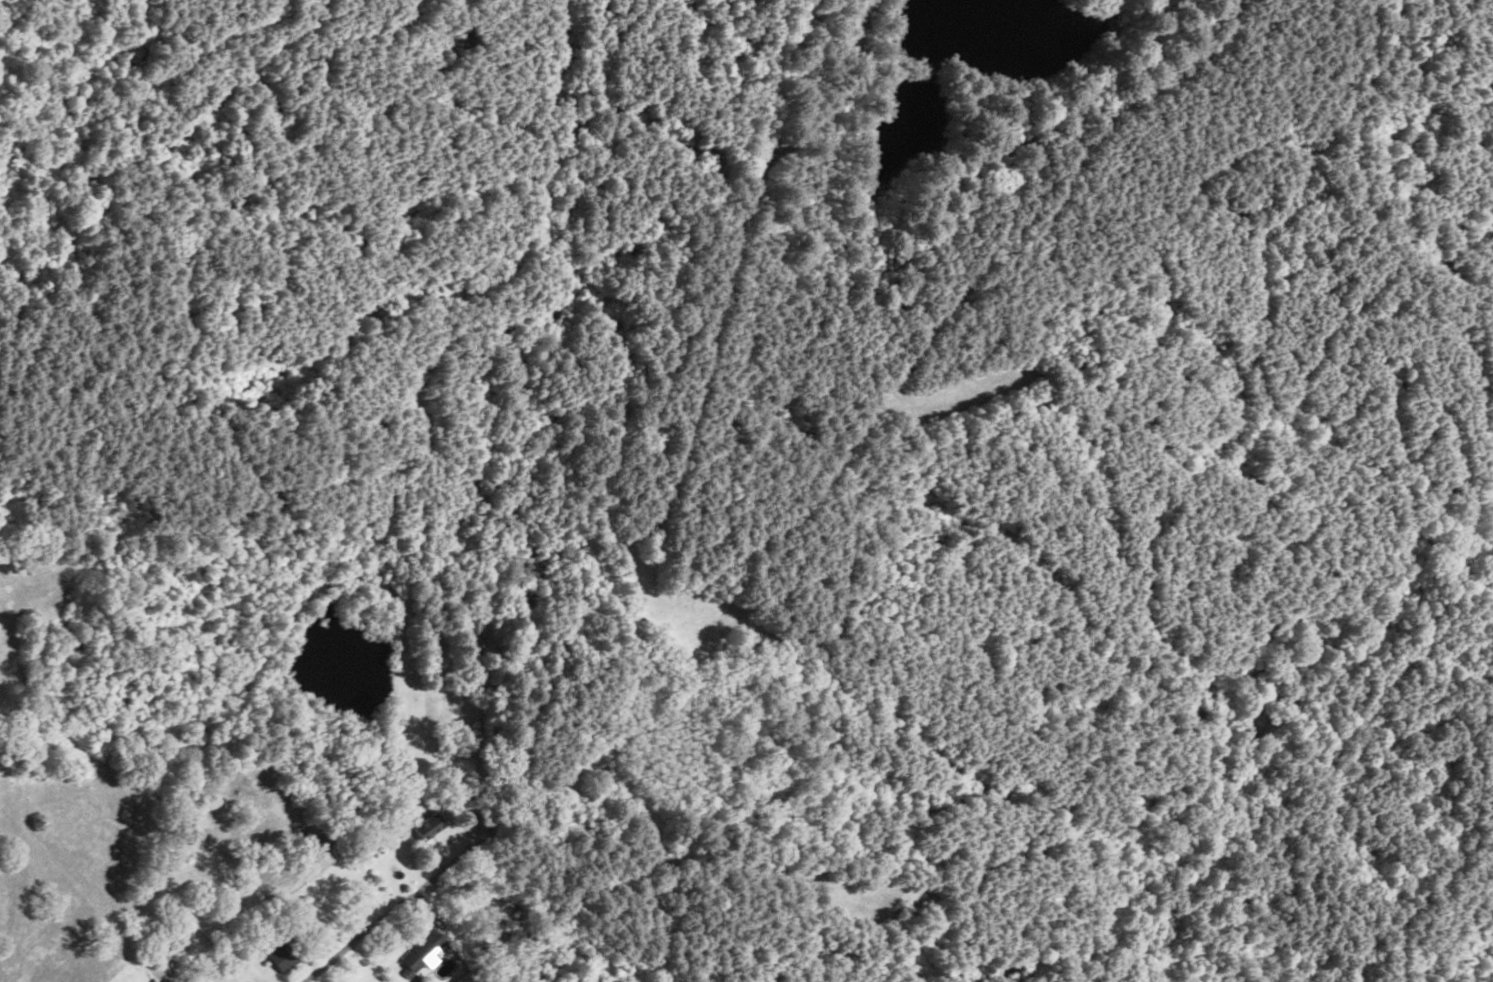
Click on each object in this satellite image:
building: (471, 631)
building: (428, 826)
building: (422, 950)
building: (281, 956)

